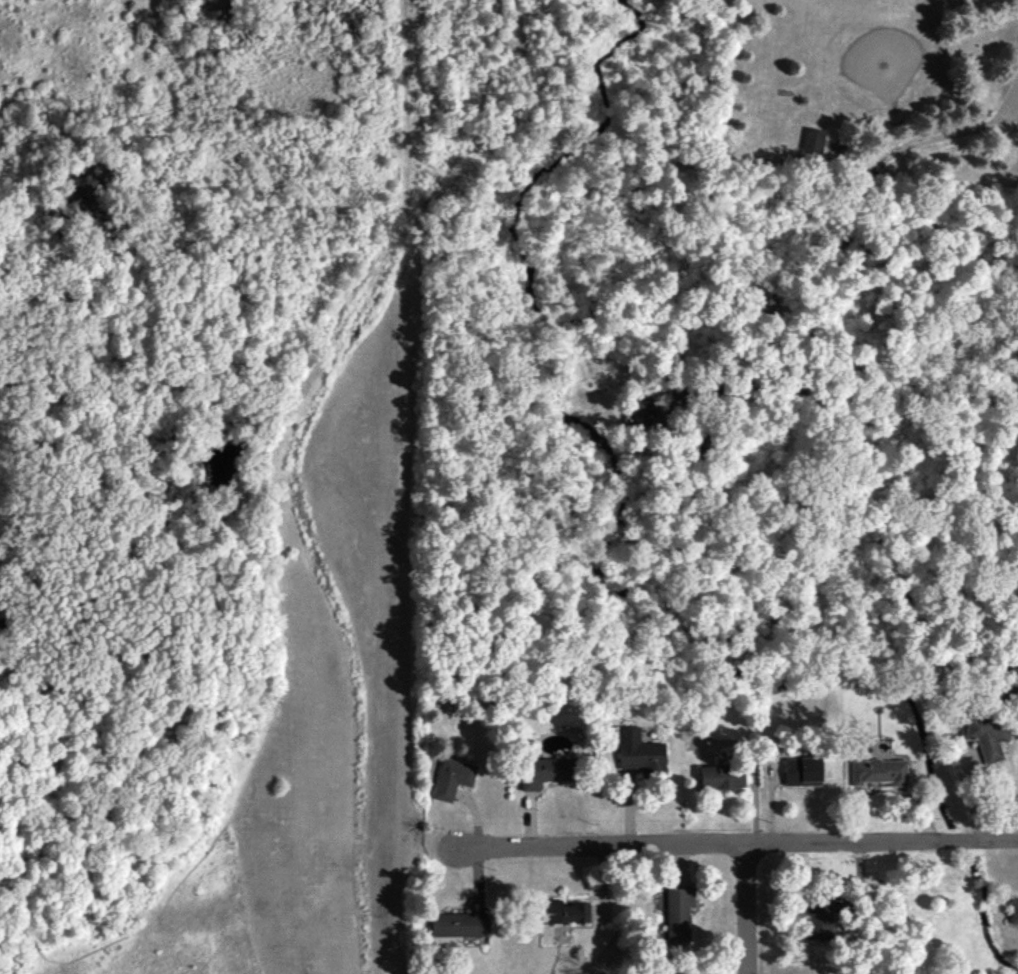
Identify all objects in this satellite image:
building: (815, 139)
road: (863, 197)
road: (669, 403)
building: (642, 410)
road: (880, 547)
building: (988, 735)
building: (638, 751)
building: (802, 770)
building: (544, 771)
building: (880, 771)
building: (721, 776)
building: (453, 777)
road: (729, 845)
road: (746, 909)
building: (563, 911)
building: (1014, 911)
building: (678, 912)
building: (819, 922)
building: (459, 924)

